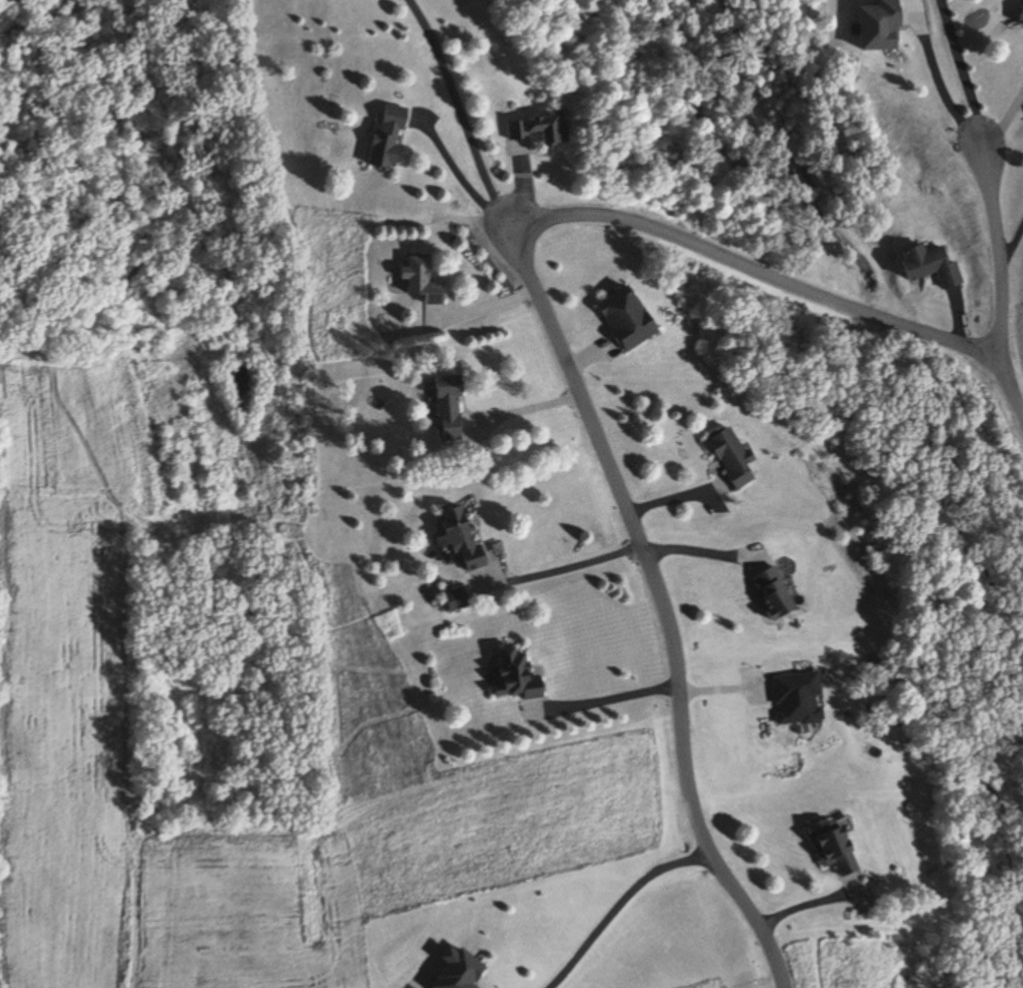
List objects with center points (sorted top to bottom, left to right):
building: (1022, 22)
building: (884, 26)
road: (961, 72)
road: (937, 83)
road: (459, 120)
building: (541, 130)
building: (391, 136)
road: (1012, 239)
road: (996, 257)
building: (933, 265)
building: (418, 281)
building: (630, 319)
road: (884, 321)
building: (453, 408)
building: (736, 458)
road: (625, 514)
building: (463, 538)
building: (777, 594)
building: (459, 600)
building: (518, 676)
building: (839, 849)
road: (614, 906)

